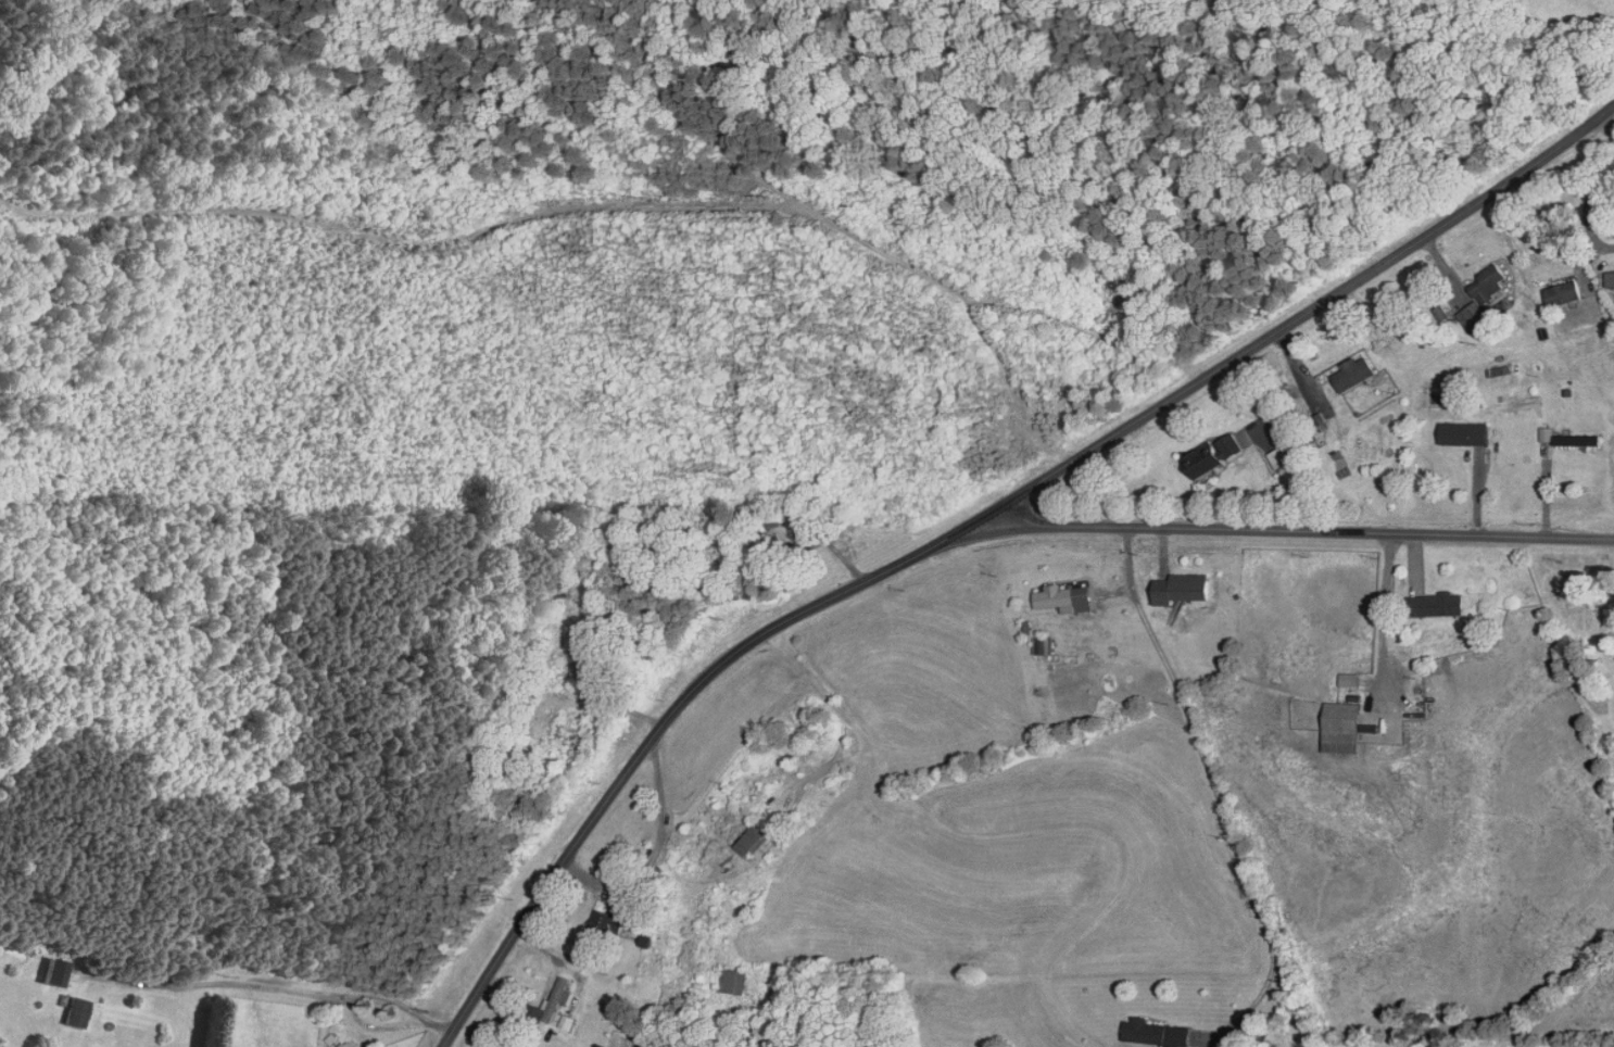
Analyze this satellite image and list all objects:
road: (1607, 125)
road: (1586, 207)
building: (1610, 280)
building: (1563, 294)
building: (1481, 299)
building: (1351, 375)
building: (1316, 400)
building: (1461, 436)
building: (1574, 442)
building: (1210, 456)
building: (1277, 458)
road: (972, 521)
road: (1293, 529)
building: (1182, 589)
building: (1063, 597)
building: (1435, 606)
road: (1384, 614)
building: (1045, 646)
building: (1340, 729)
road: (1211, 781)
building: (753, 841)
building: (605, 923)
building: (52, 975)
building: (734, 982)
road: (266, 985)
building: (550, 1004)
building: (78, 1012)
building: (1158, 1034)
building: (340, 1045)

